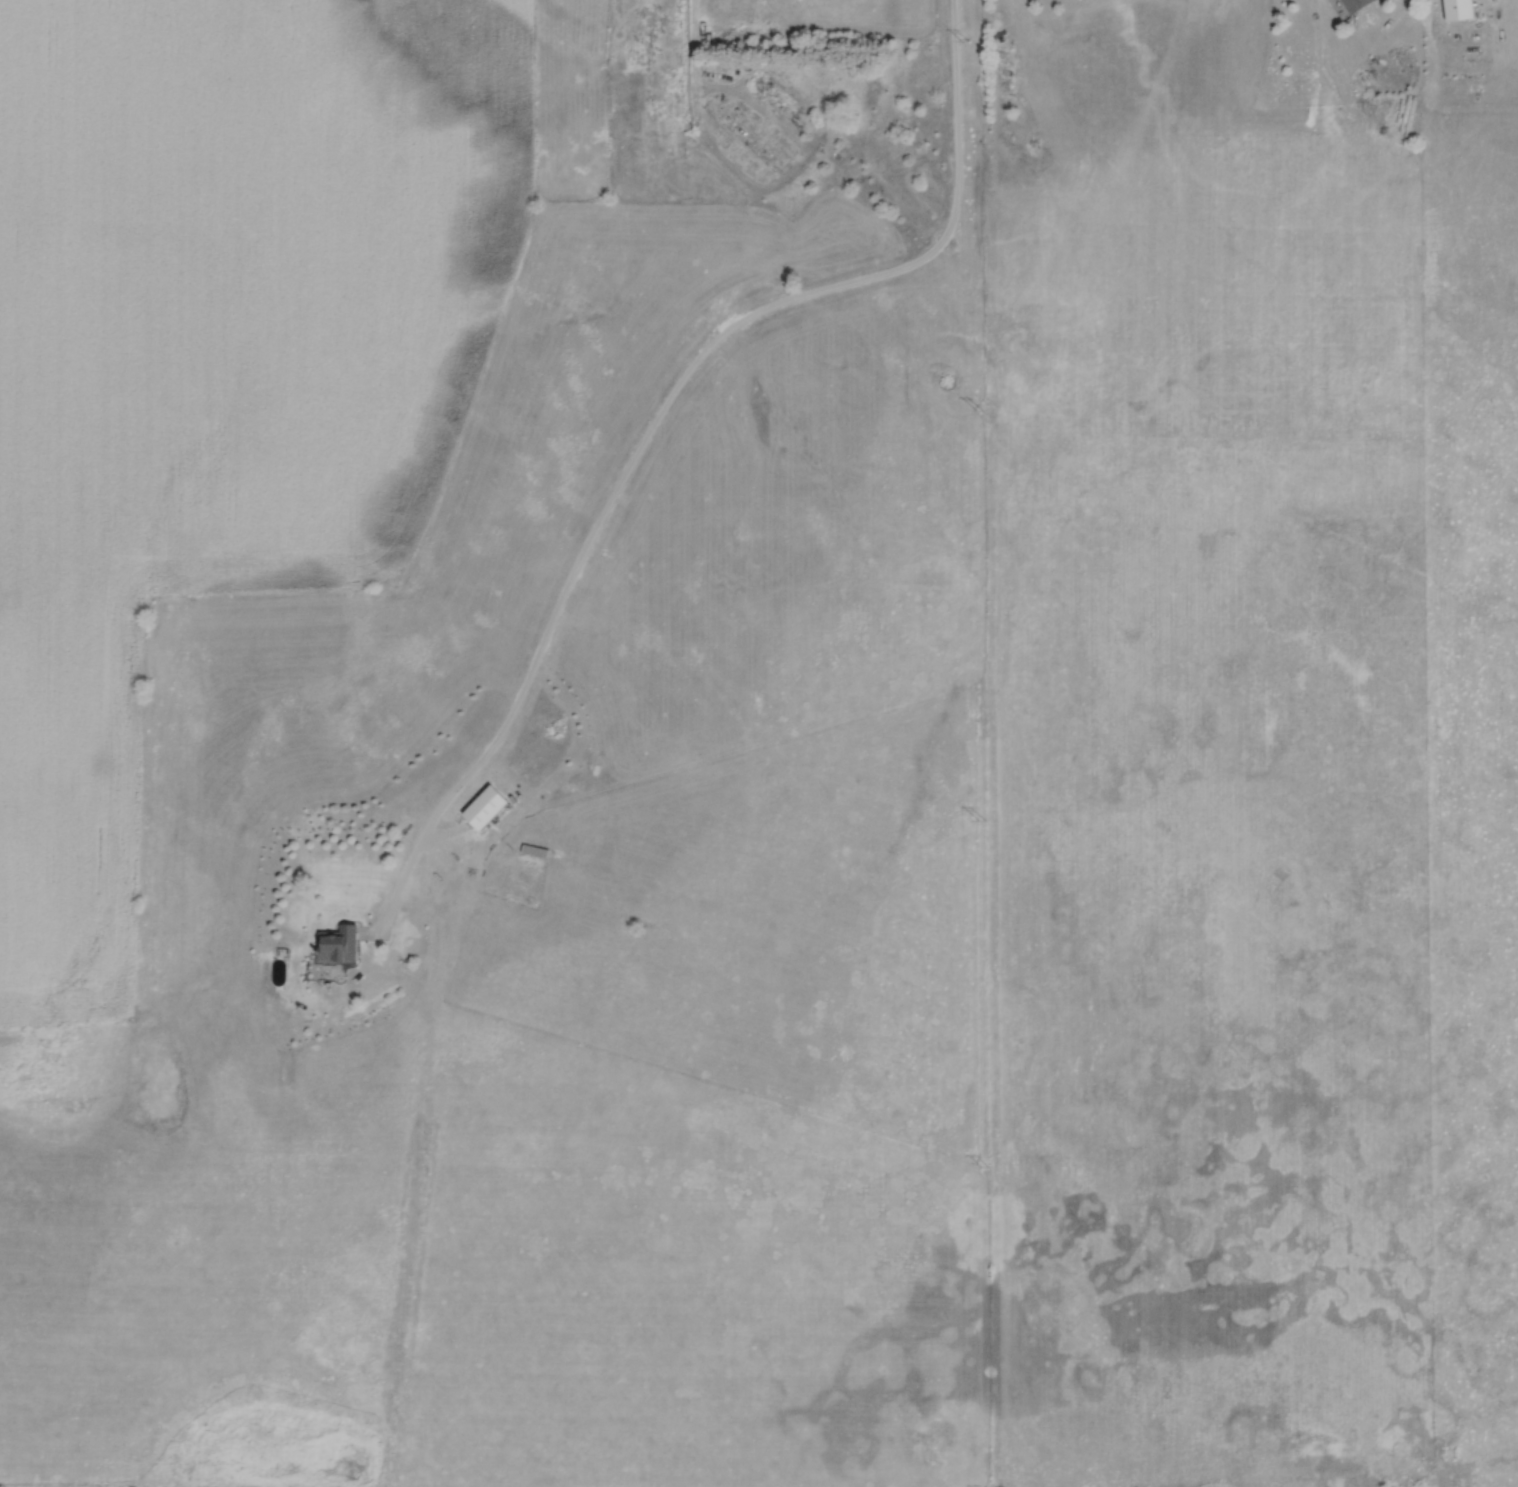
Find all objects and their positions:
building: (1359, 4)
power tower: (966, 41)
road: (666, 408)
power tower: (980, 408)
building: (488, 809)
power tower: (982, 821)
building: (341, 945)
power tower: (984, 1170)

